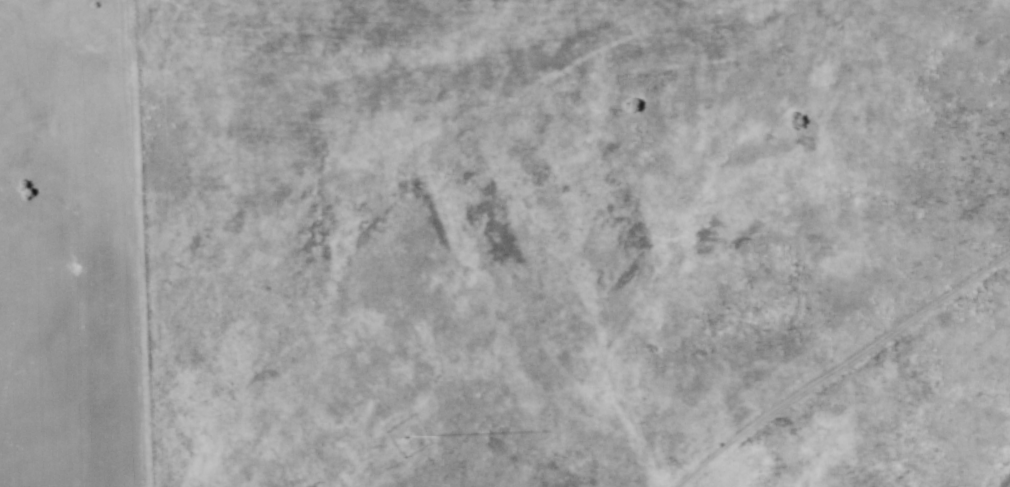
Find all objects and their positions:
road: (77, 221)

